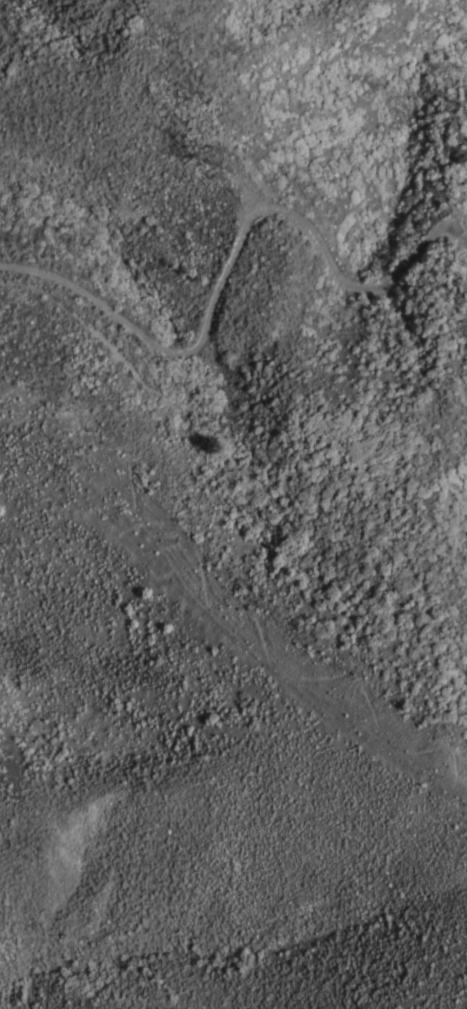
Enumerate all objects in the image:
power tower: (218, 156)
road: (464, 242)
road: (232, 255)
road: (225, 412)

